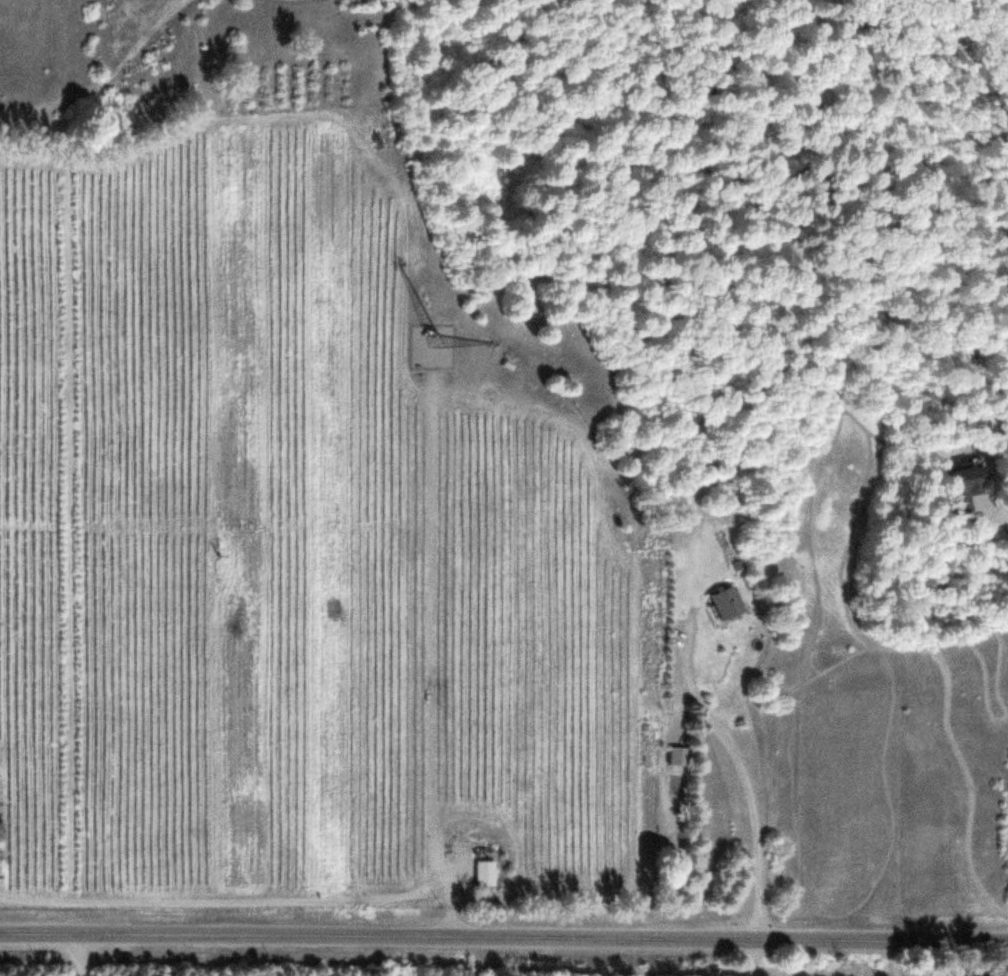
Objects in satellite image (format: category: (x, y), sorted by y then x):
road: (106, 83)
road: (1000, 513)
building: (730, 604)
building: (487, 872)
road: (503, 937)

